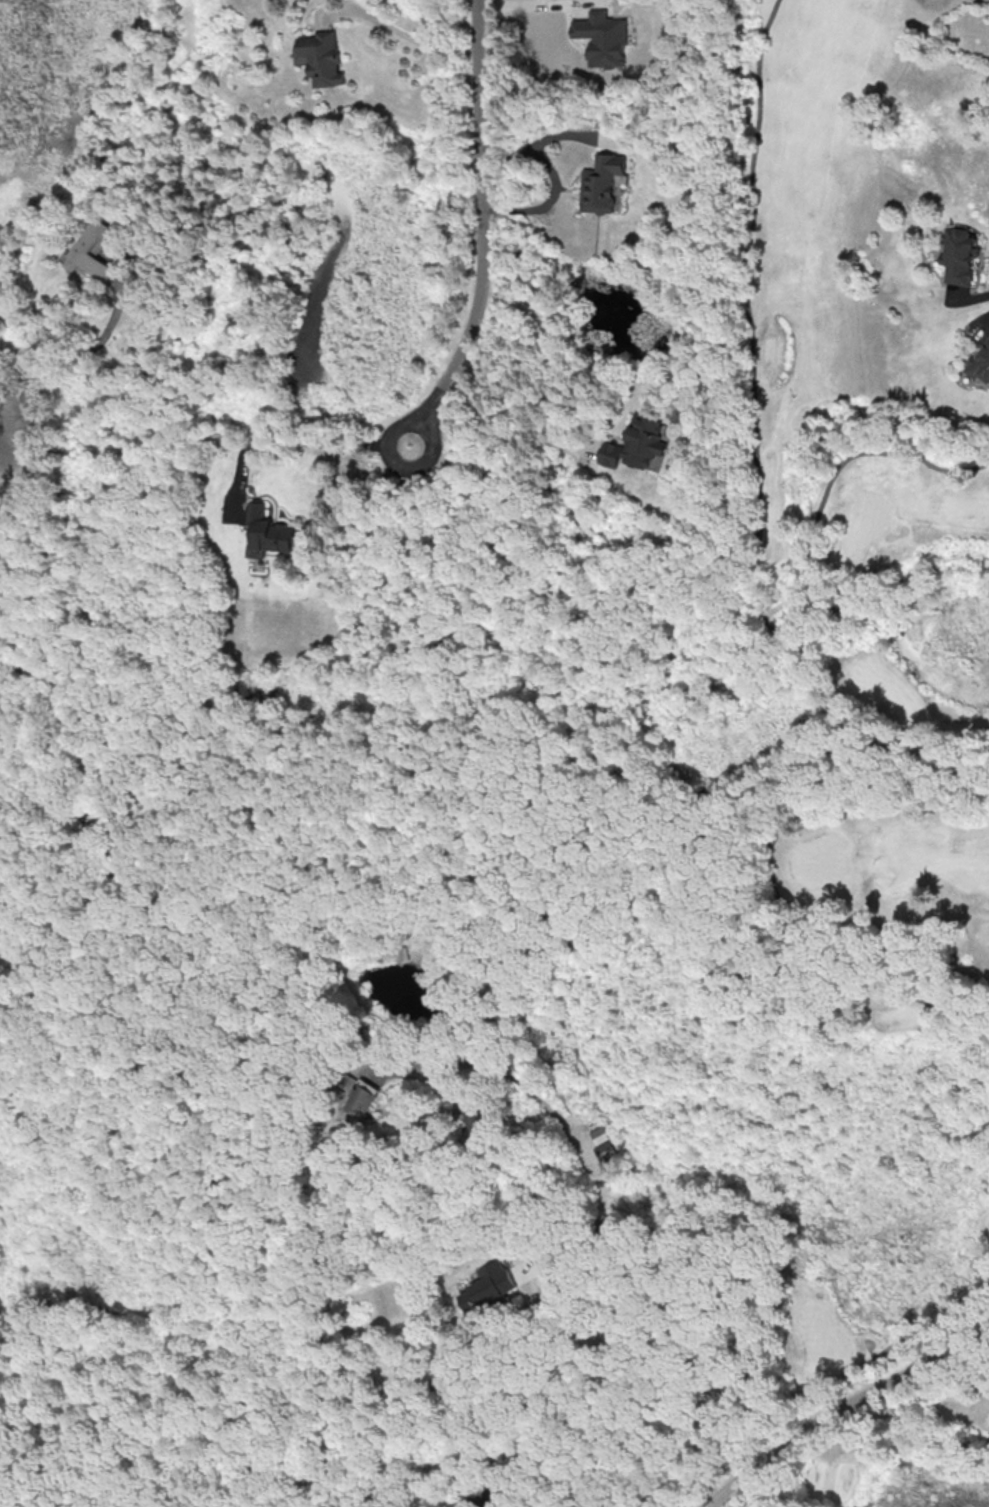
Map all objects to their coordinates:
road: (530, 9)
road: (395, 36)
building: (602, 38)
building: (322, 57)
building: (601, 183)
road: (481, 230)
building: (84, 246)
building: (956, 255)
road: (85, 350)
building: (980, 358)
road: (516, 410)
road: (295, 438)
building: (637, 444)
road: (755, 447)
building: (267, 532)
road: (849, 705)
park: (868, 747)
building: (362, 1097)
building: (601, 1142)
road: (611, 1235)
building: (488, 1287)
road: (574, 1327)
road: (840, 1406)

